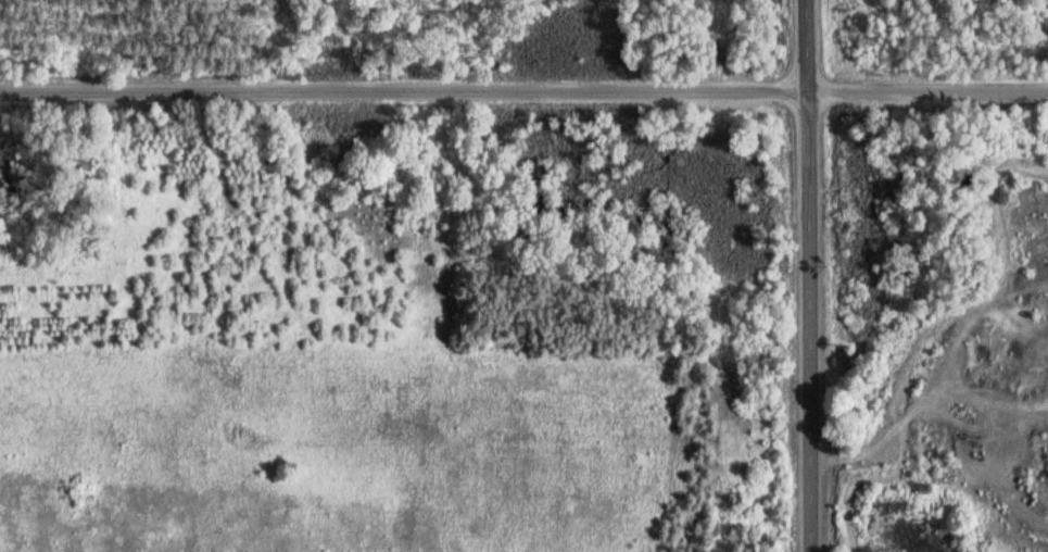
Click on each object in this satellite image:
road: (523, 87)
road: (804, 275)

